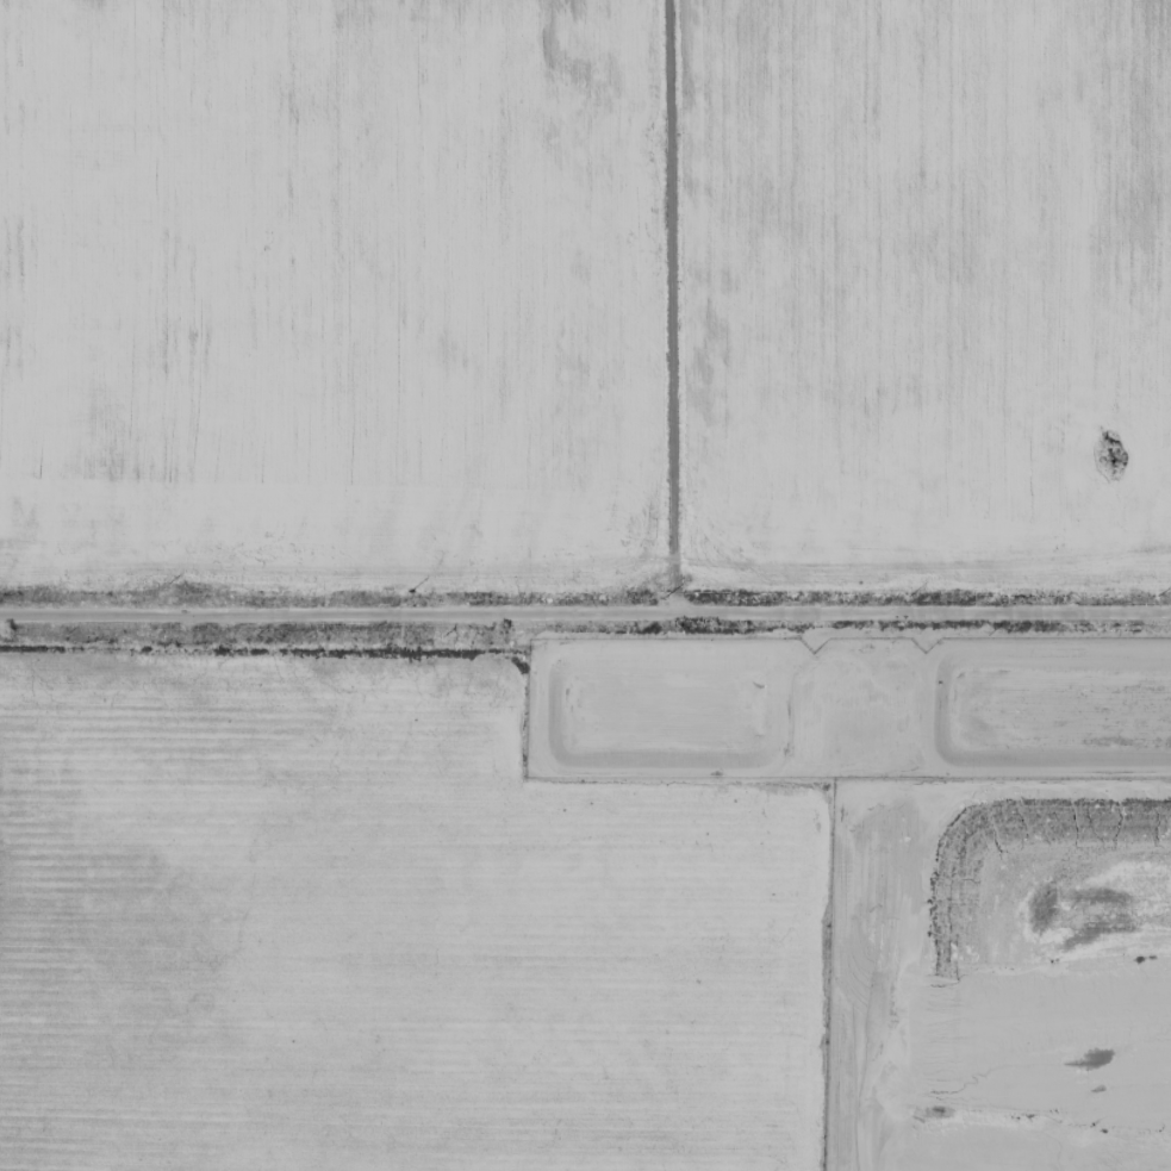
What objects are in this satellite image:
road: (671, 303)
road: (585, 608)

